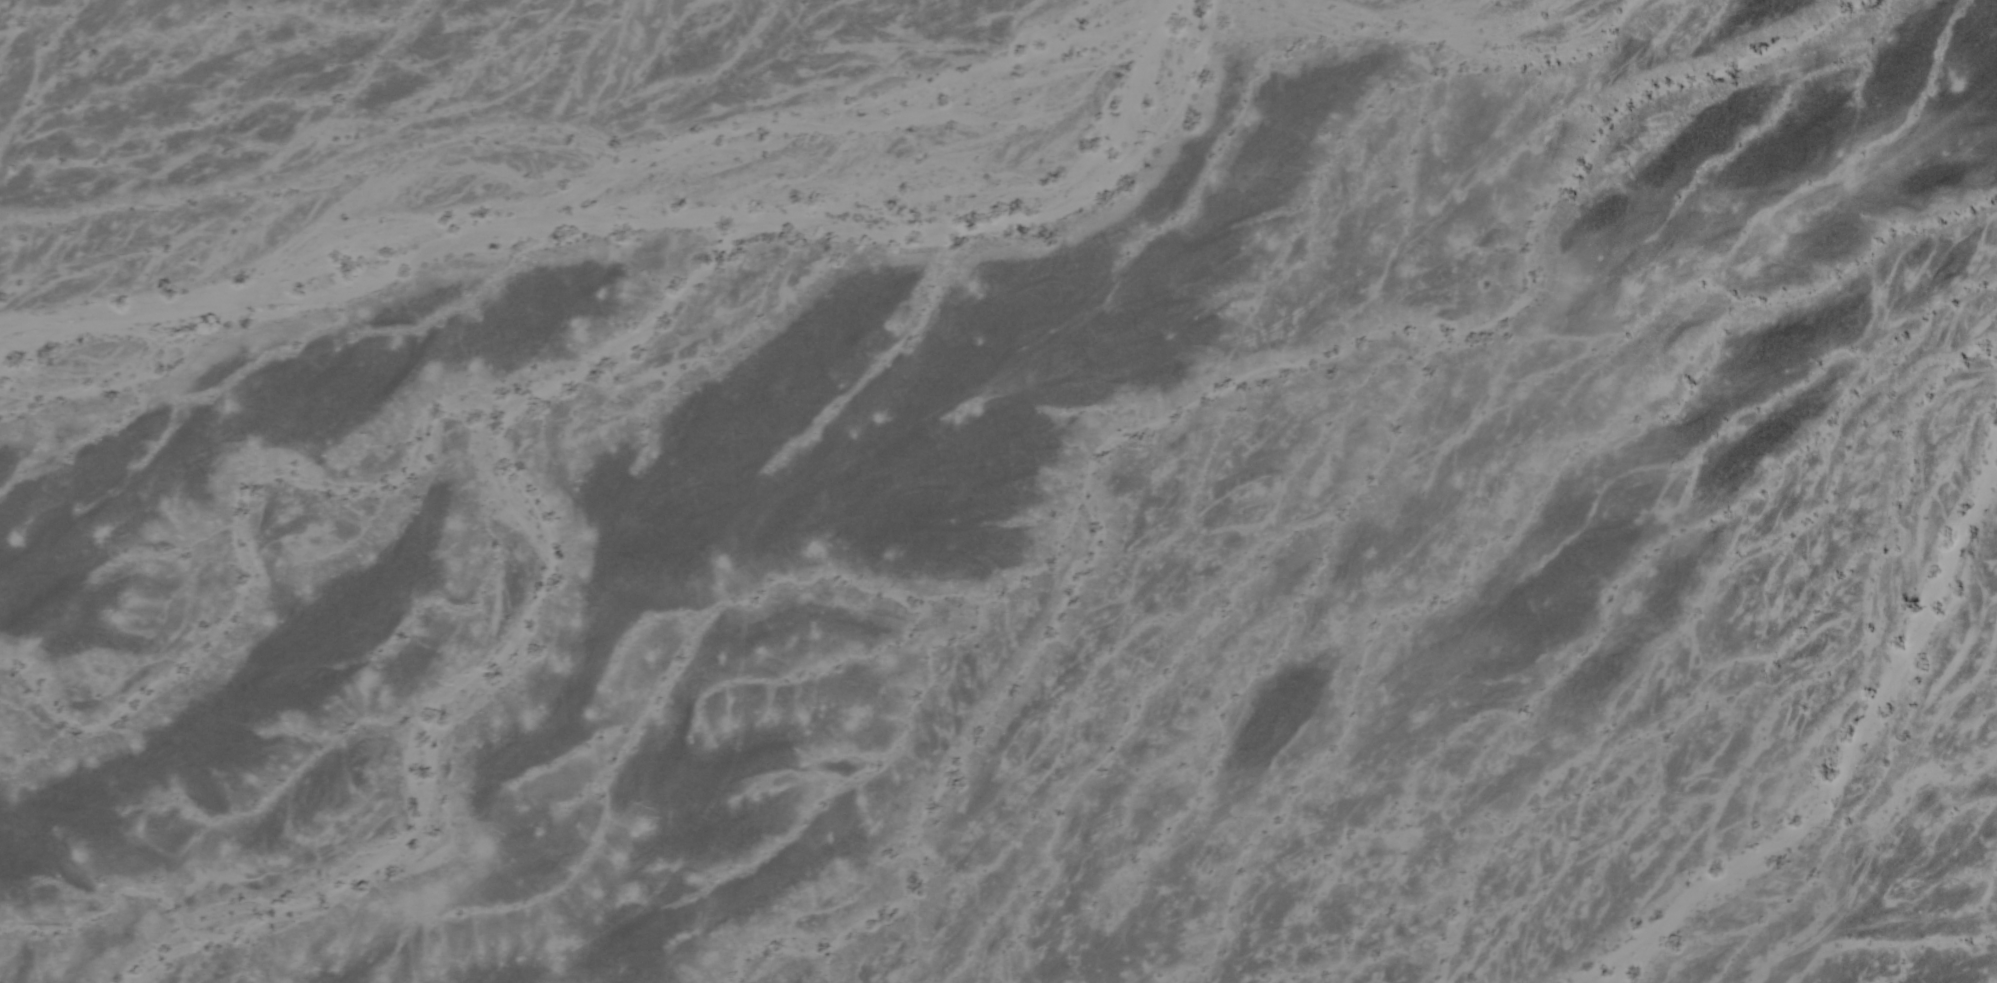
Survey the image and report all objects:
road: (1885, 829)

